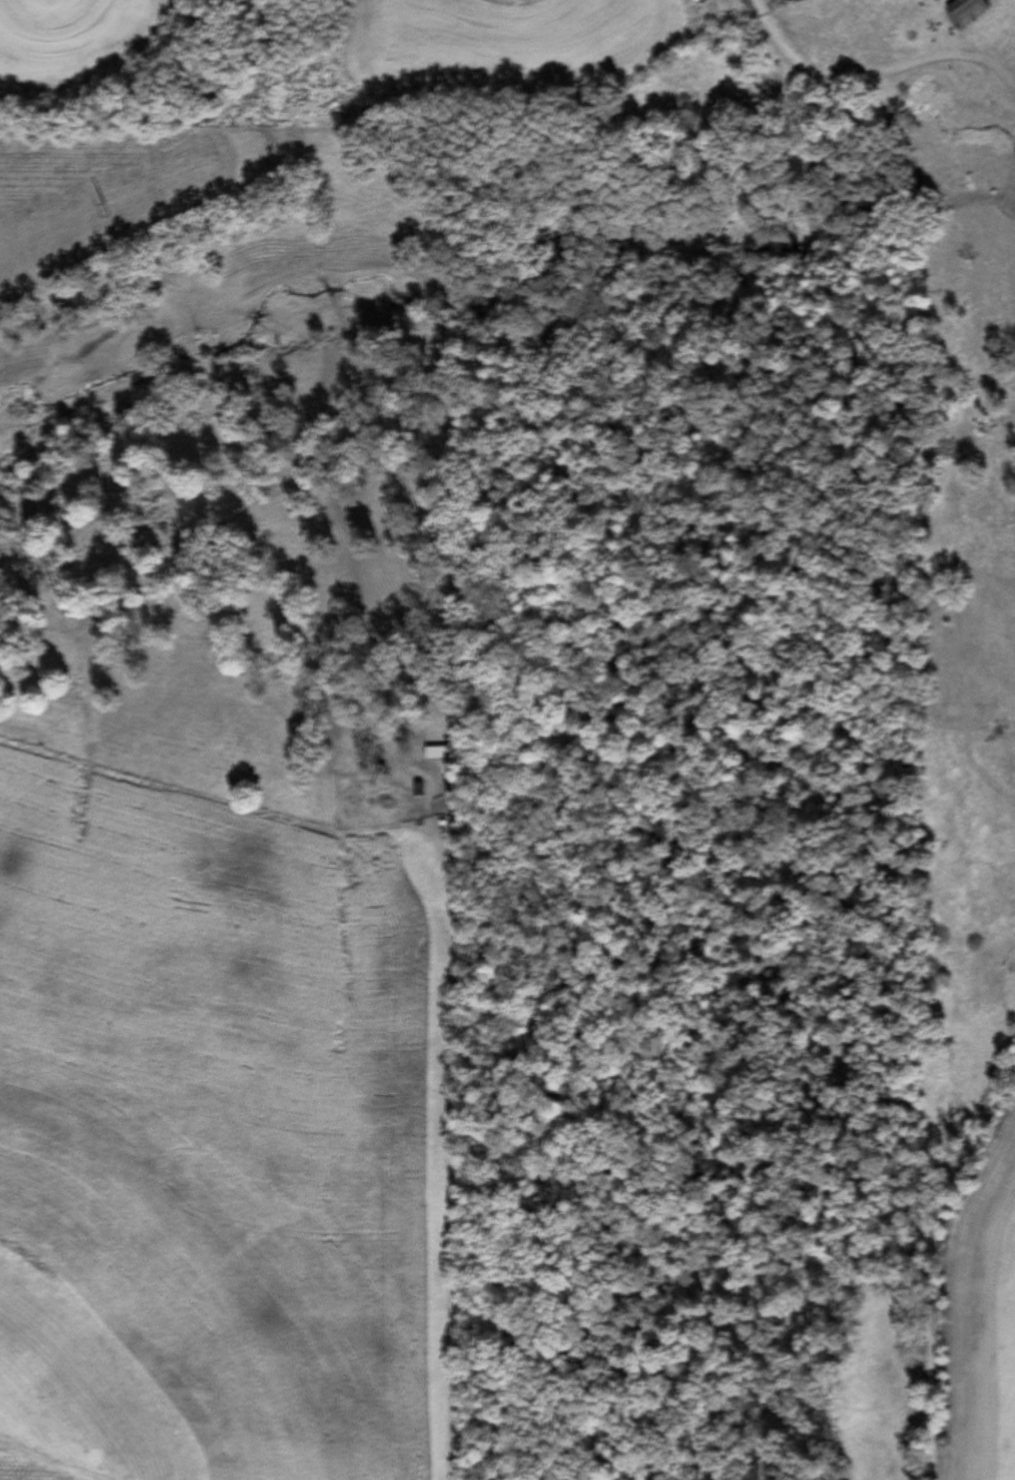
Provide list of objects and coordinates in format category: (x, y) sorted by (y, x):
building: (966, 12)
power tower: (100, 212)
road: (327, 1274)
road: (954, 1283)

